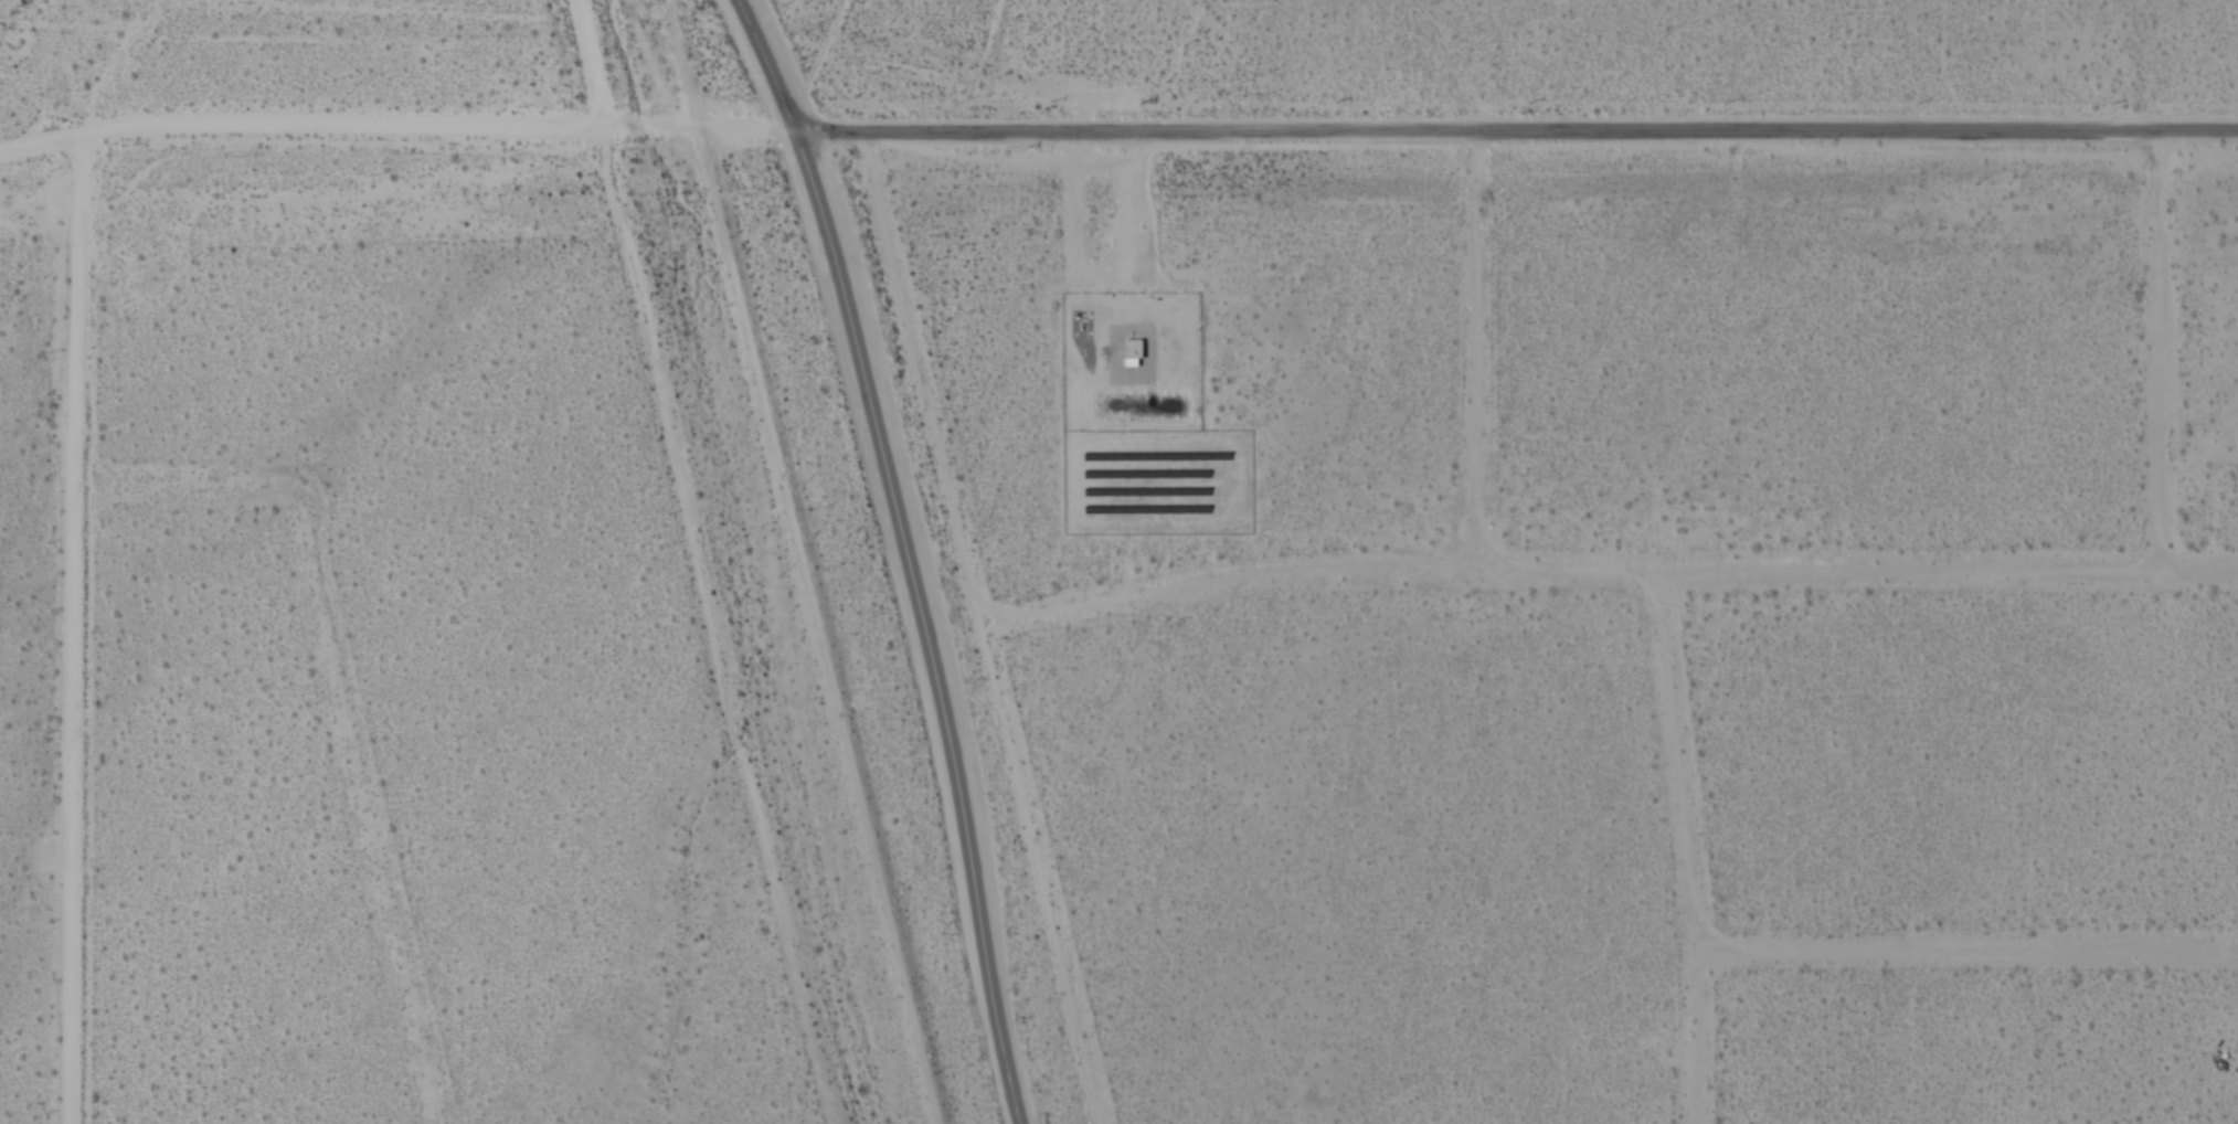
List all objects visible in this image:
road: (588, 61)
road: (397, 127)
road: (1517, 131)
road: (1472, 346)
road: (2159, 352)
building: (1133, 353)
solar farm: (1157, 481)
road: (185, 483)
road: (909, 554)
road: (1608, 568)
road: (713, 624)
road: (75, 627)
road: (984, 629)
road: (370, 804)
road: (1684, 846)
road: (1967, 951)

